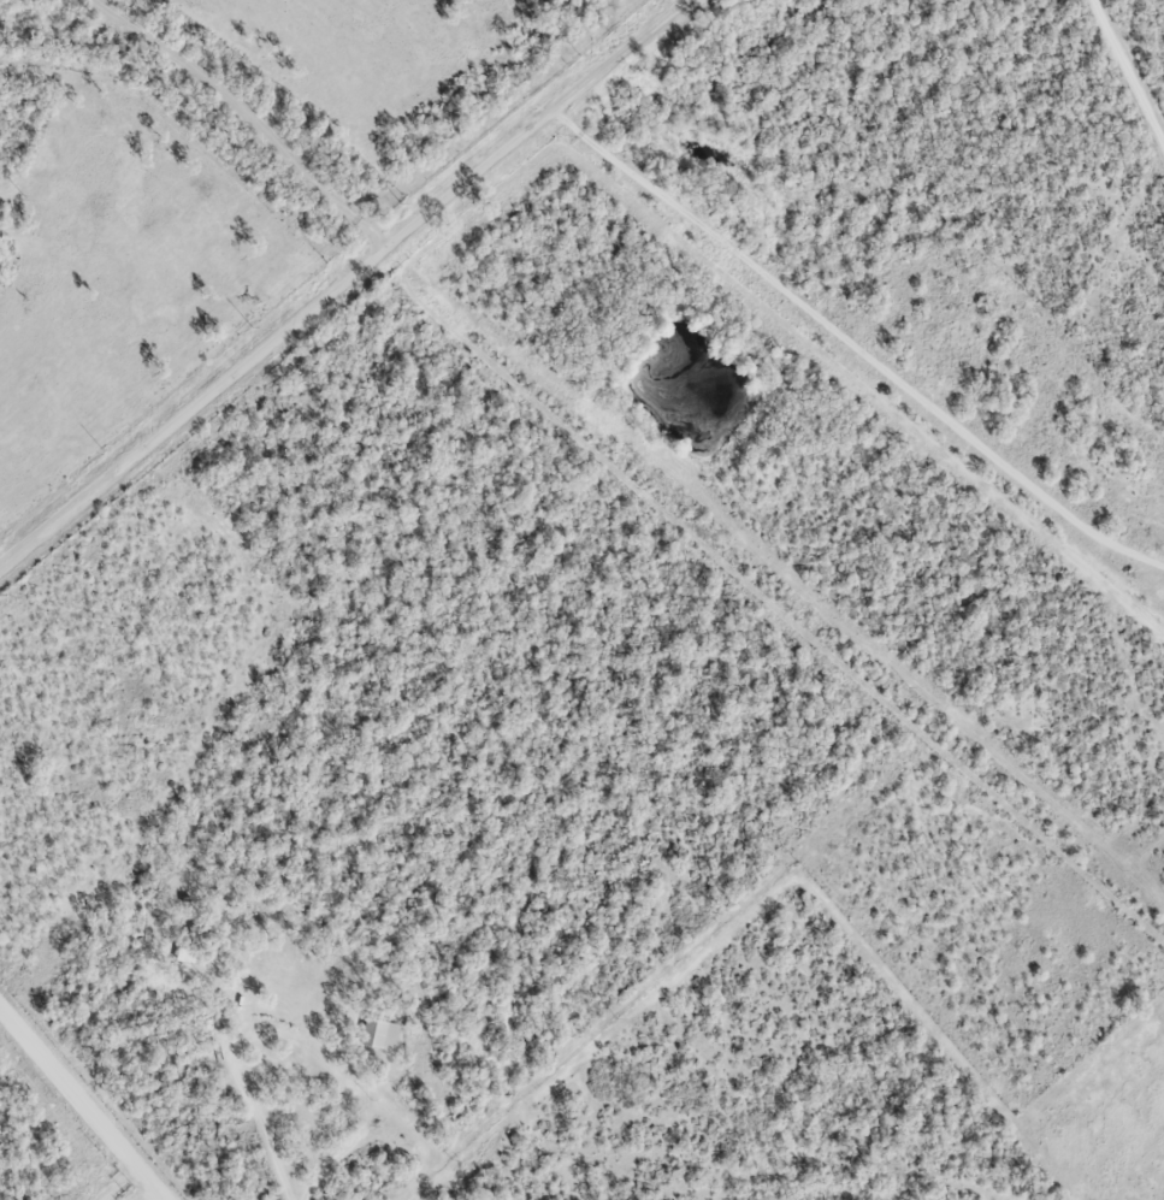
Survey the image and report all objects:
road: (1128, 75)
road: (246, 117)
road: (343, 285)
road: (853, 341)
building: (191, 951)
building: (378, 1036)
road: (83, 1103)
road: (255, 1121)
road: (347, 1148)
road: (159, 1199)

